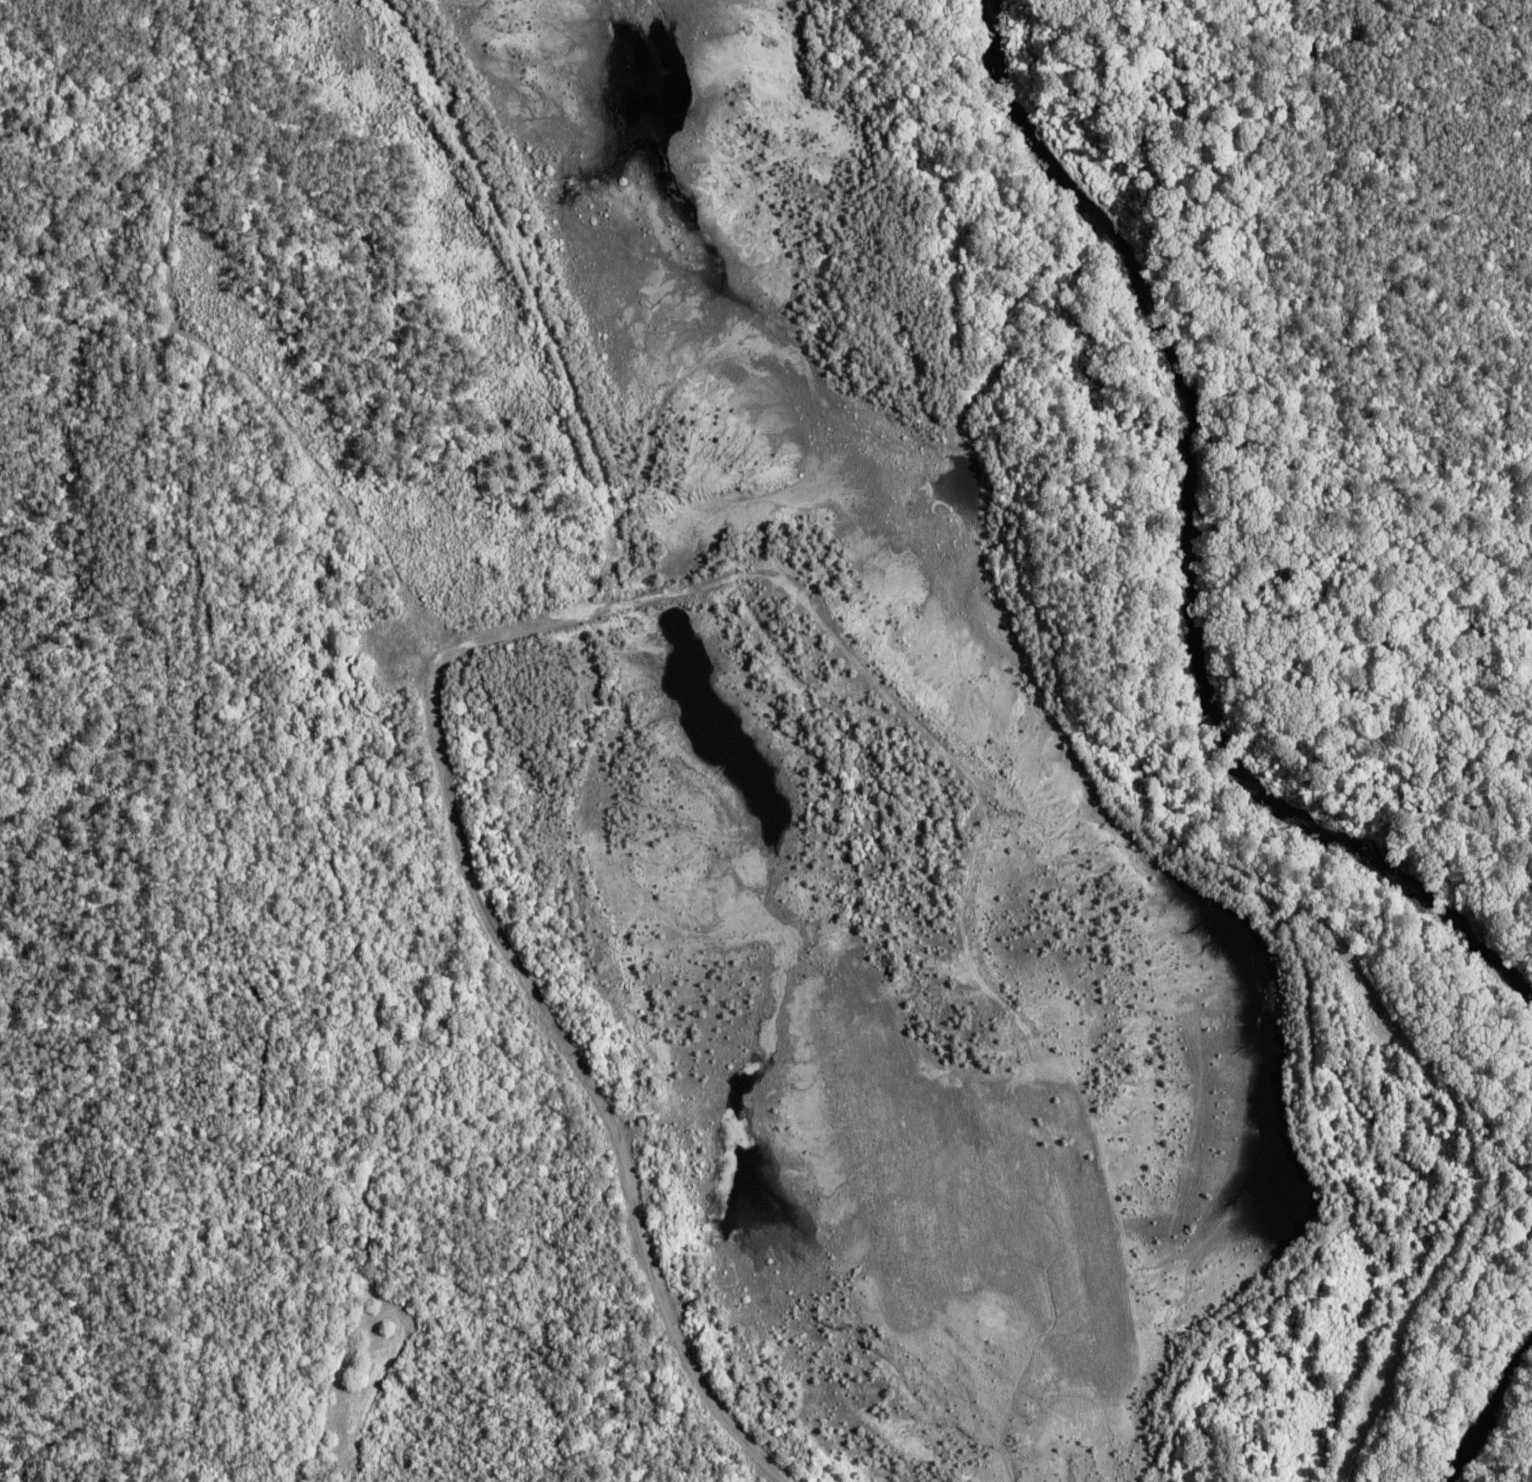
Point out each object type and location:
road: (757, 422)
river: (1186, 544)
road: (522, 882)
river: (1491, 1404)

